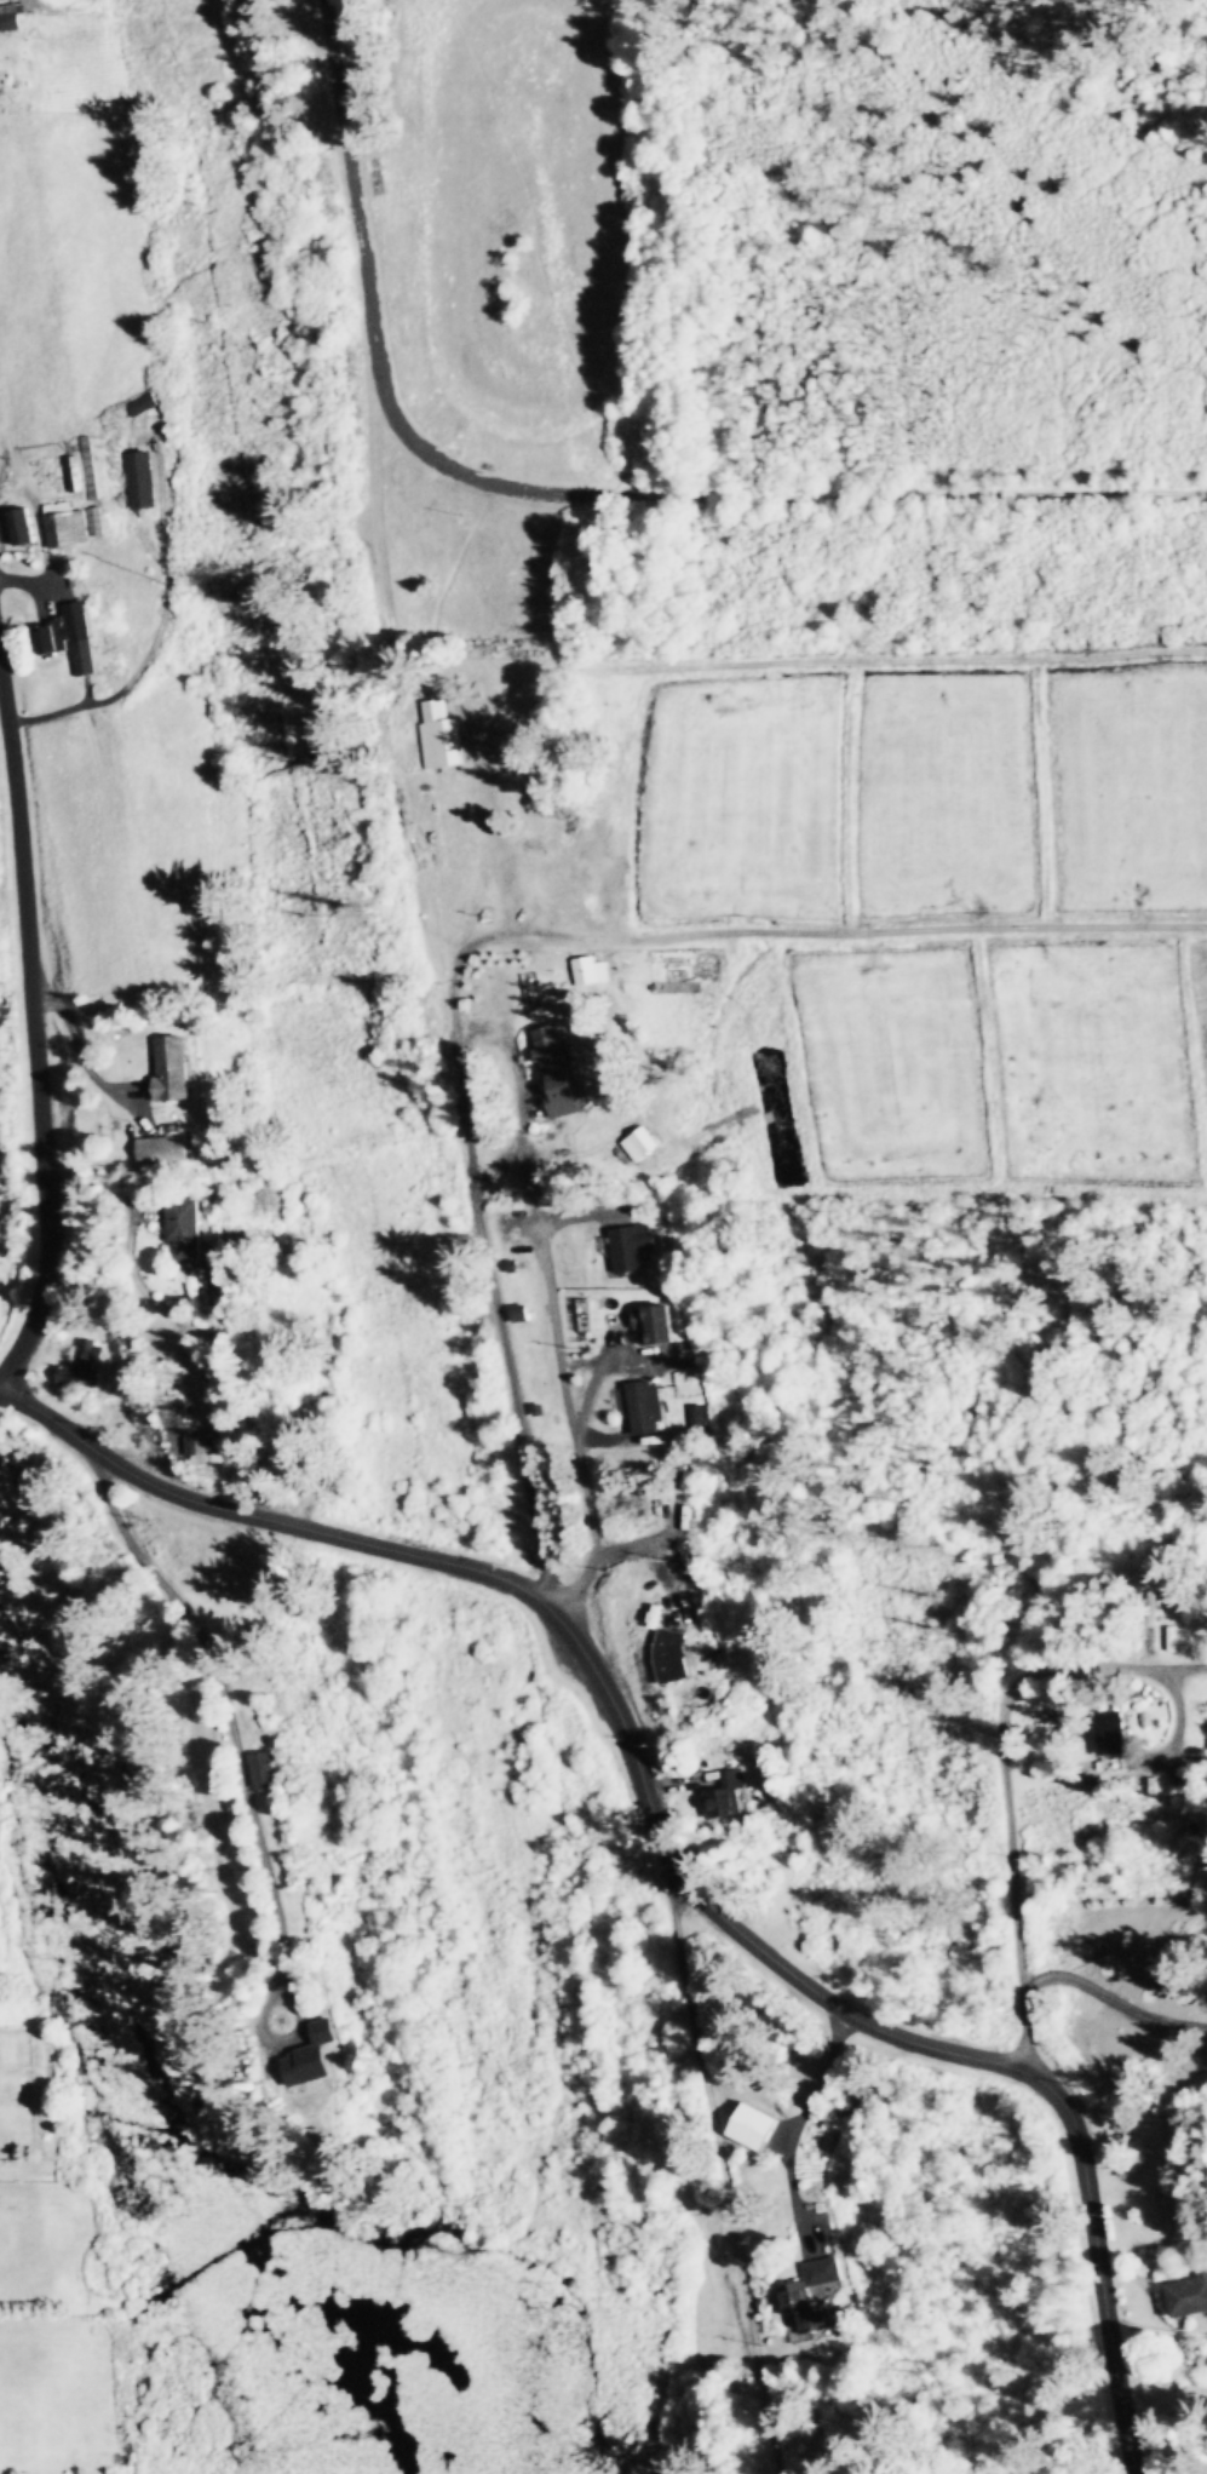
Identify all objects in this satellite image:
building: (7, 18)
building: (5, 97)
road: (355, 185)
building: (142, 404)
building: (87, 466)
building: (70, 471)
building: (138, 478)
road: (765, 496)
building: (92, 520)
building: (17, 523)
building: (62, 526)
building: (65, 635)
road: (34, 1043)
building: (551, 1051)
building: (166, 1067)
building: (161, 1148)
building: (179, 1229)
building: (630, 1246)
building: (653, 1324)
road: (563, 1359)
building: (84, 1364)
road: (2, 1377)
building: (644, 1406)
building: (699, 1417)
railway: (527, 1425)
building: (202, 1442)
building: (668, 1654)
road: (1177, 1672)
building: (276, 1705)
building: (1113, 1741)
road: (1006, 1774)
building: (729, 1793)
road: (666, 1846)
road: (1115, 2003)
building: (322, 2059)
building: (751, 2126)
road: (723, 2162)
building: (792, 2294)
building: (1188, 2296)

